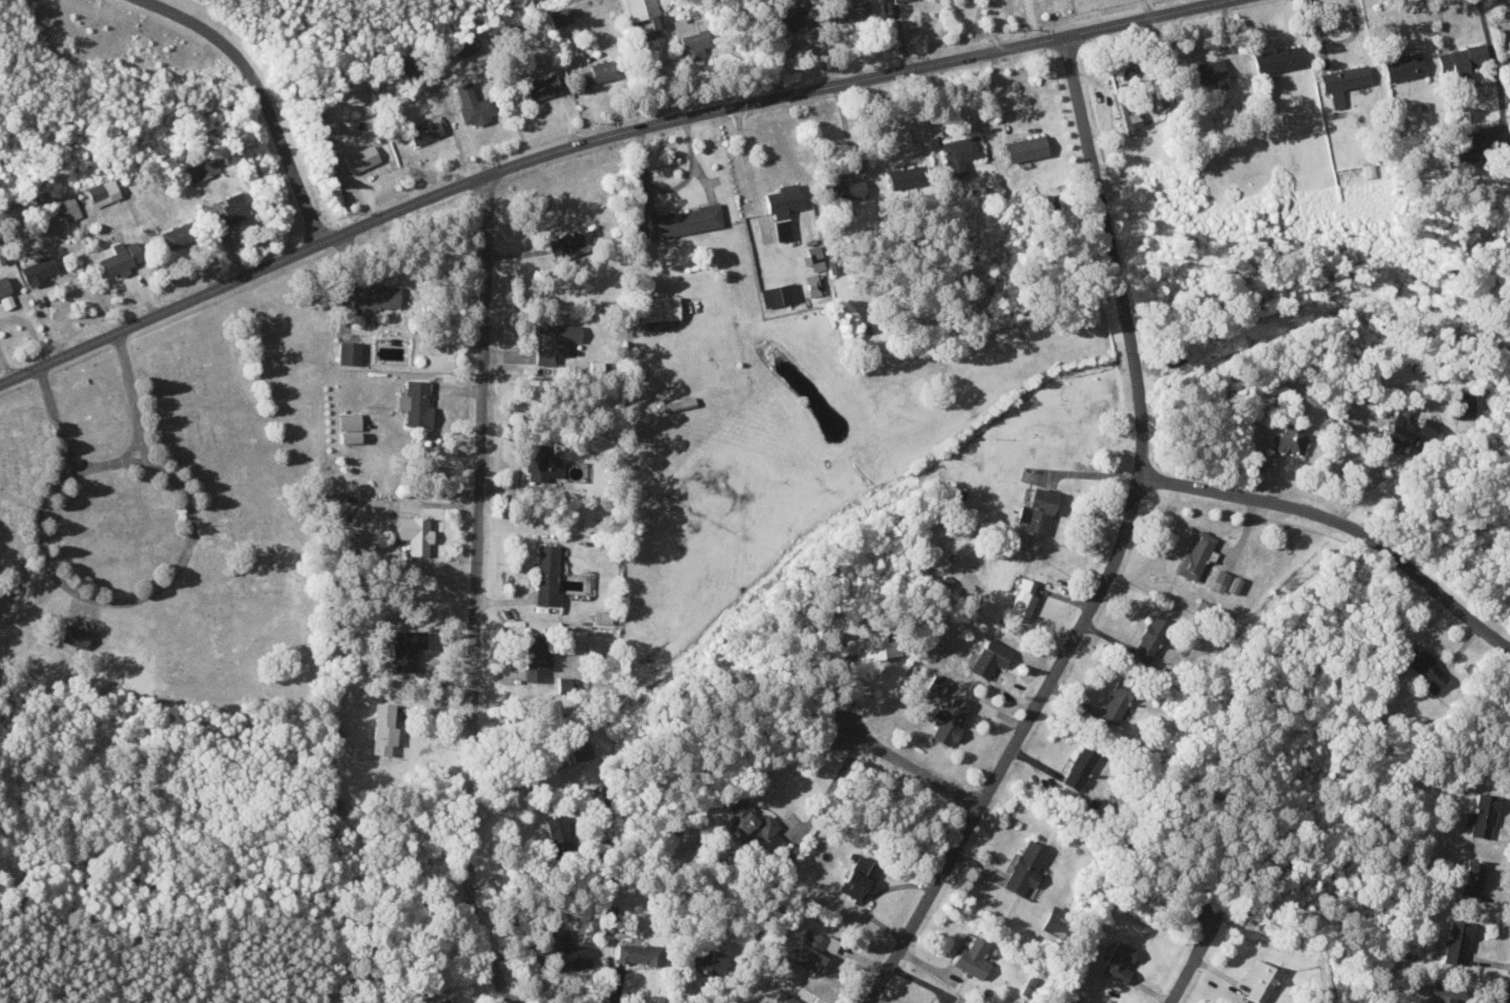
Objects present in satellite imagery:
building: (898, 0)
building: (854, 9)
building: (646, 12)
building: (560, 17)
building: (789, 18)
building: (689, 26)
building: (1509, 41)
building: (1462, 58)
building: (1280, 59)
building: (1404, 66)
building: (1210, 70)
building: (600, 71)
building: (1124, 74)
building: (1344, 82)
building: (544, 87)
road: (260, 96)
building: (474, 104)
building: (1130, 115)
building: (425, 132)
road: (595, 146)
building: (1470, 147)
building: (1027, 148)
building: (960, 154)
building: (362, 159)
building: (203, 169)
building: (906, 177)
building: (846, 190)
building: (104, 192)
building: (232, 208)
building: (784, 208)
building: (687, 221)
building: (177, 235)
building: (571, 244)
building: (121, 256)
building: (815, 258)
building: (39, 269)
building: (816, 284)
building: (4, 285)
building: (1000, 291)
building: (374, 296)
building: (7, 300)
building: (660, 307)
building: (555, 339)
building: (350, 351)
building: (417, 402)
building: (1465, 403)
building: (350, 426)
building: (1408, 429)
building: (1290, 438)
building: (542, 460)
road: (118, 461)
building: (1039, 509)
road: (1344, 522)
building: (415, 532)
road: (1121, 544)
park: (149, 551)
building: (1196, 554)
building: (548, 575)
building: (1221, 579)
building: (1235, 584)
road: (477, 591)
building: (1026, 596)
road: (126, 598)
building: (601, 616)
building: (76, 636)
building: (1151, 637)
building: (407, 647)
building: (875, 647)
building: (536, 655)
building: (992, 657)
building: (1426, 667)
building: (938, 683)
building: (1118, 699)
building: (951, 720)
building: (384, 728)
road: (915, 767)
building: (1081, 767)
building: (1484, 815)
building: (752, 820)
building: (559, 831)
building: (1026, 867)
building: (860, 877)
building: (1475, 877)
building: (610, 920)
building: (1459, 940)
building: (570, 951)
building: (813, 951)
building: (639, 953)
building: (973, 957)
building: (1120, 961)
road: (1194, 962)
building: (708, 963)
building: (1264, 983)
building: (1450, 992)
building: (786, 998)
building: (444, 1001)
building: (938, 1002)

